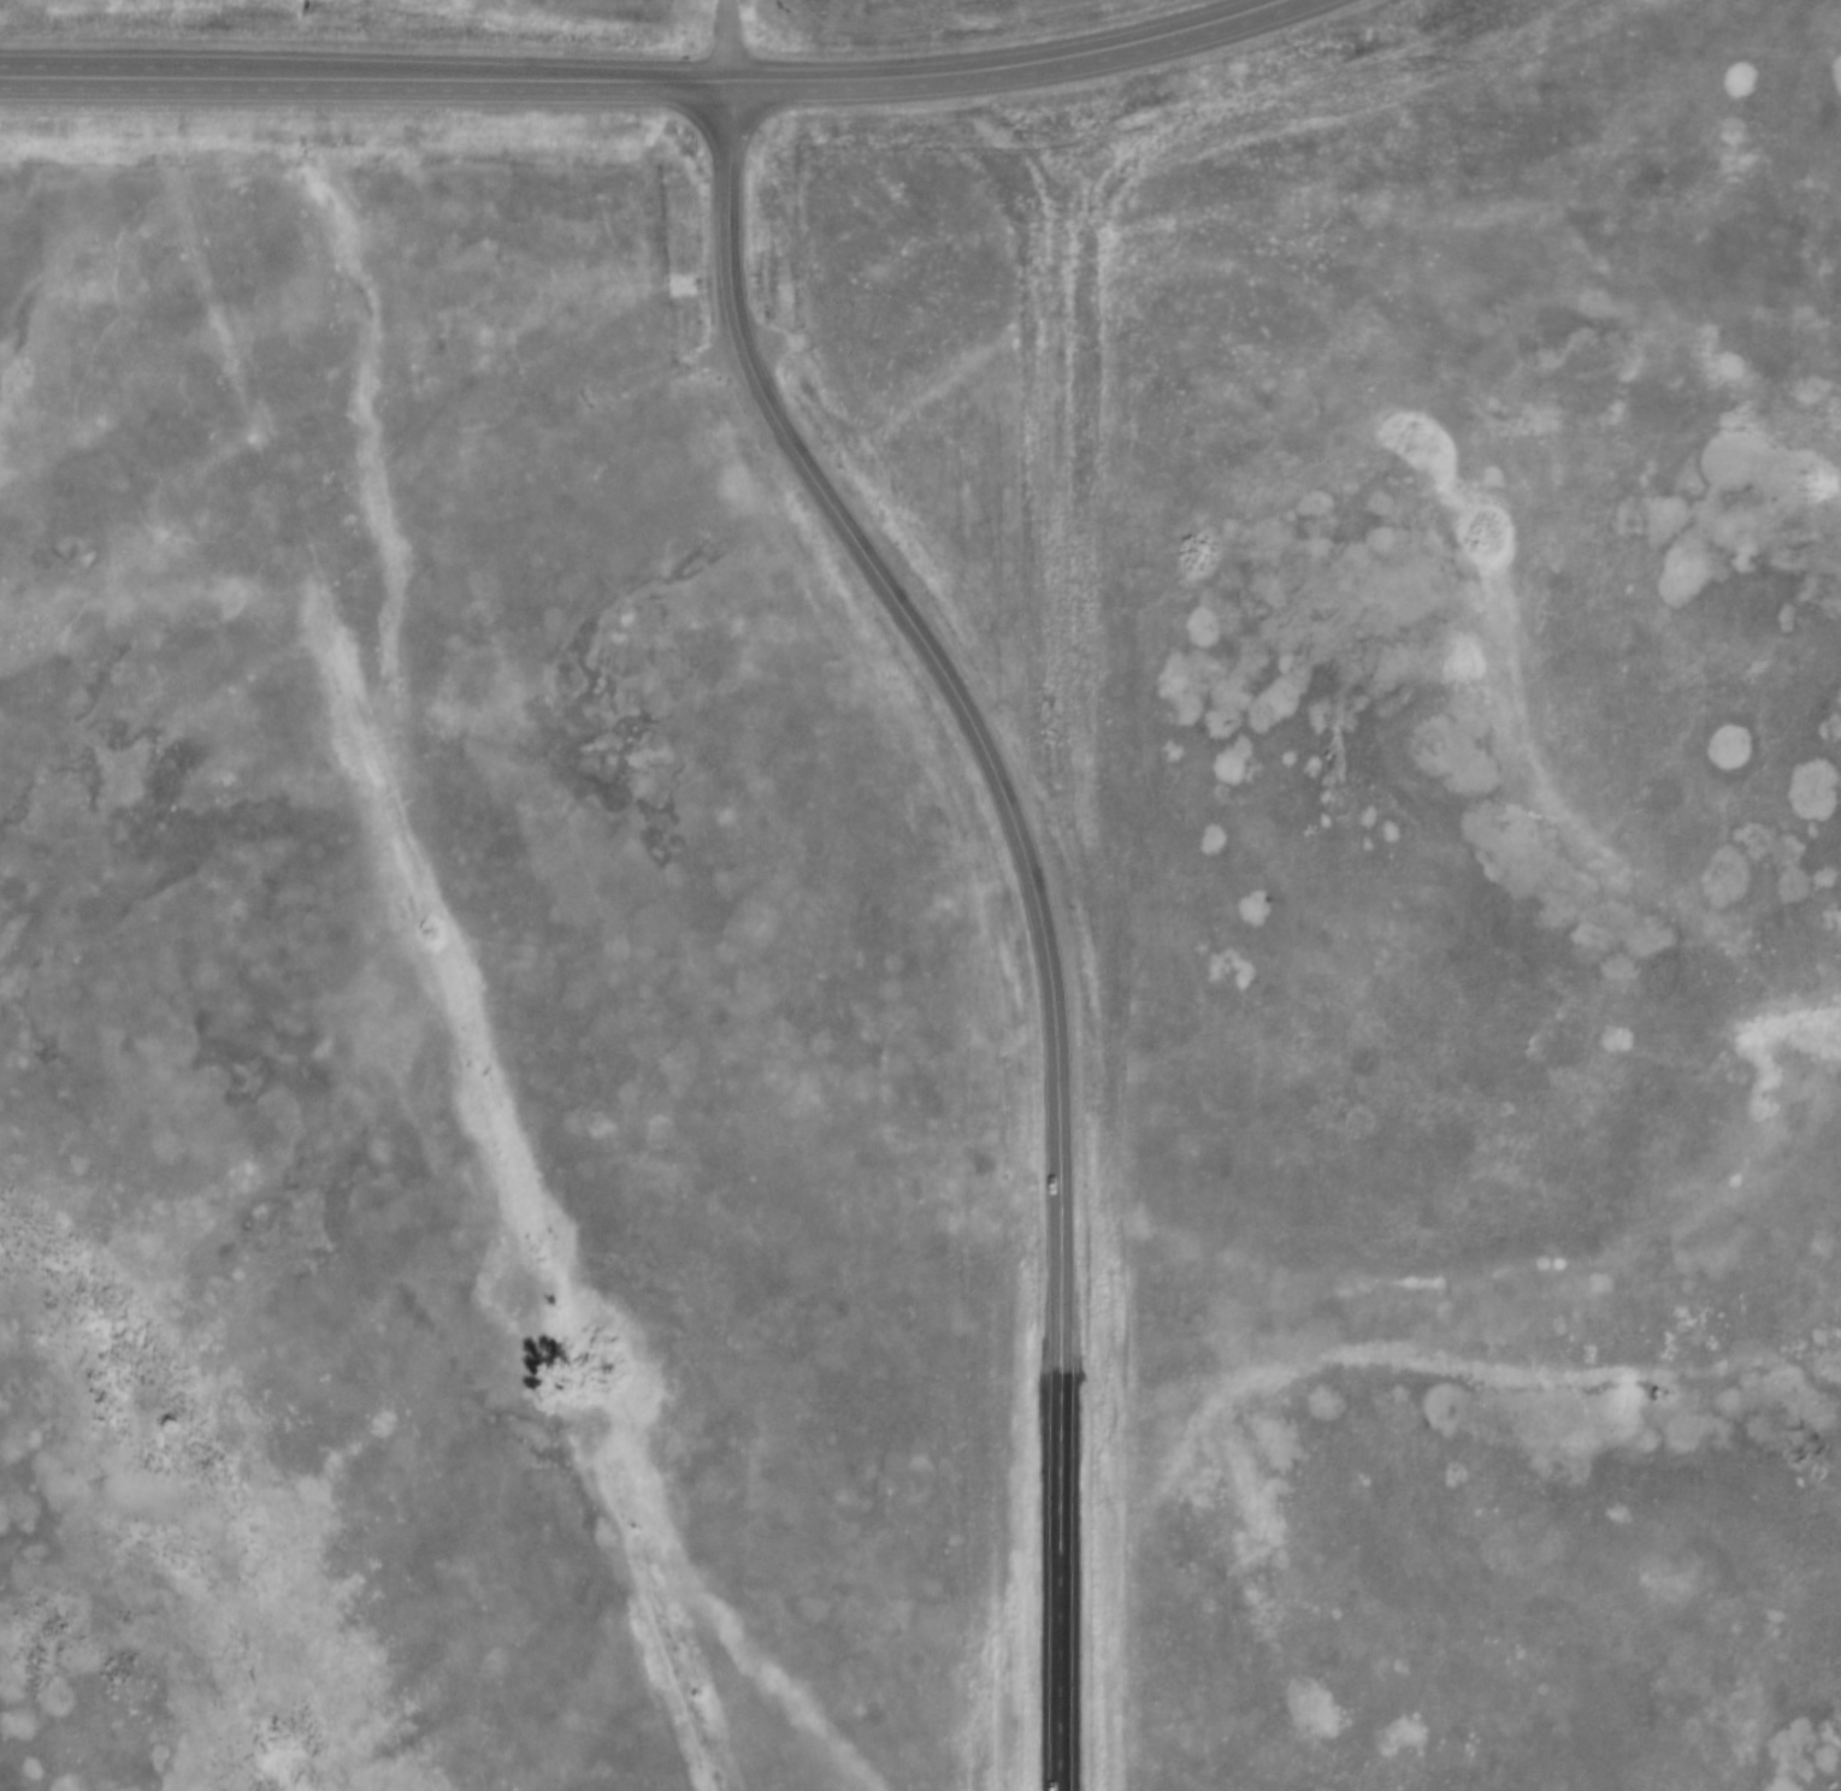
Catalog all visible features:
road: (730, 37)
road: (648, 75)
road: (727, 152)
road: (1051, 970)

